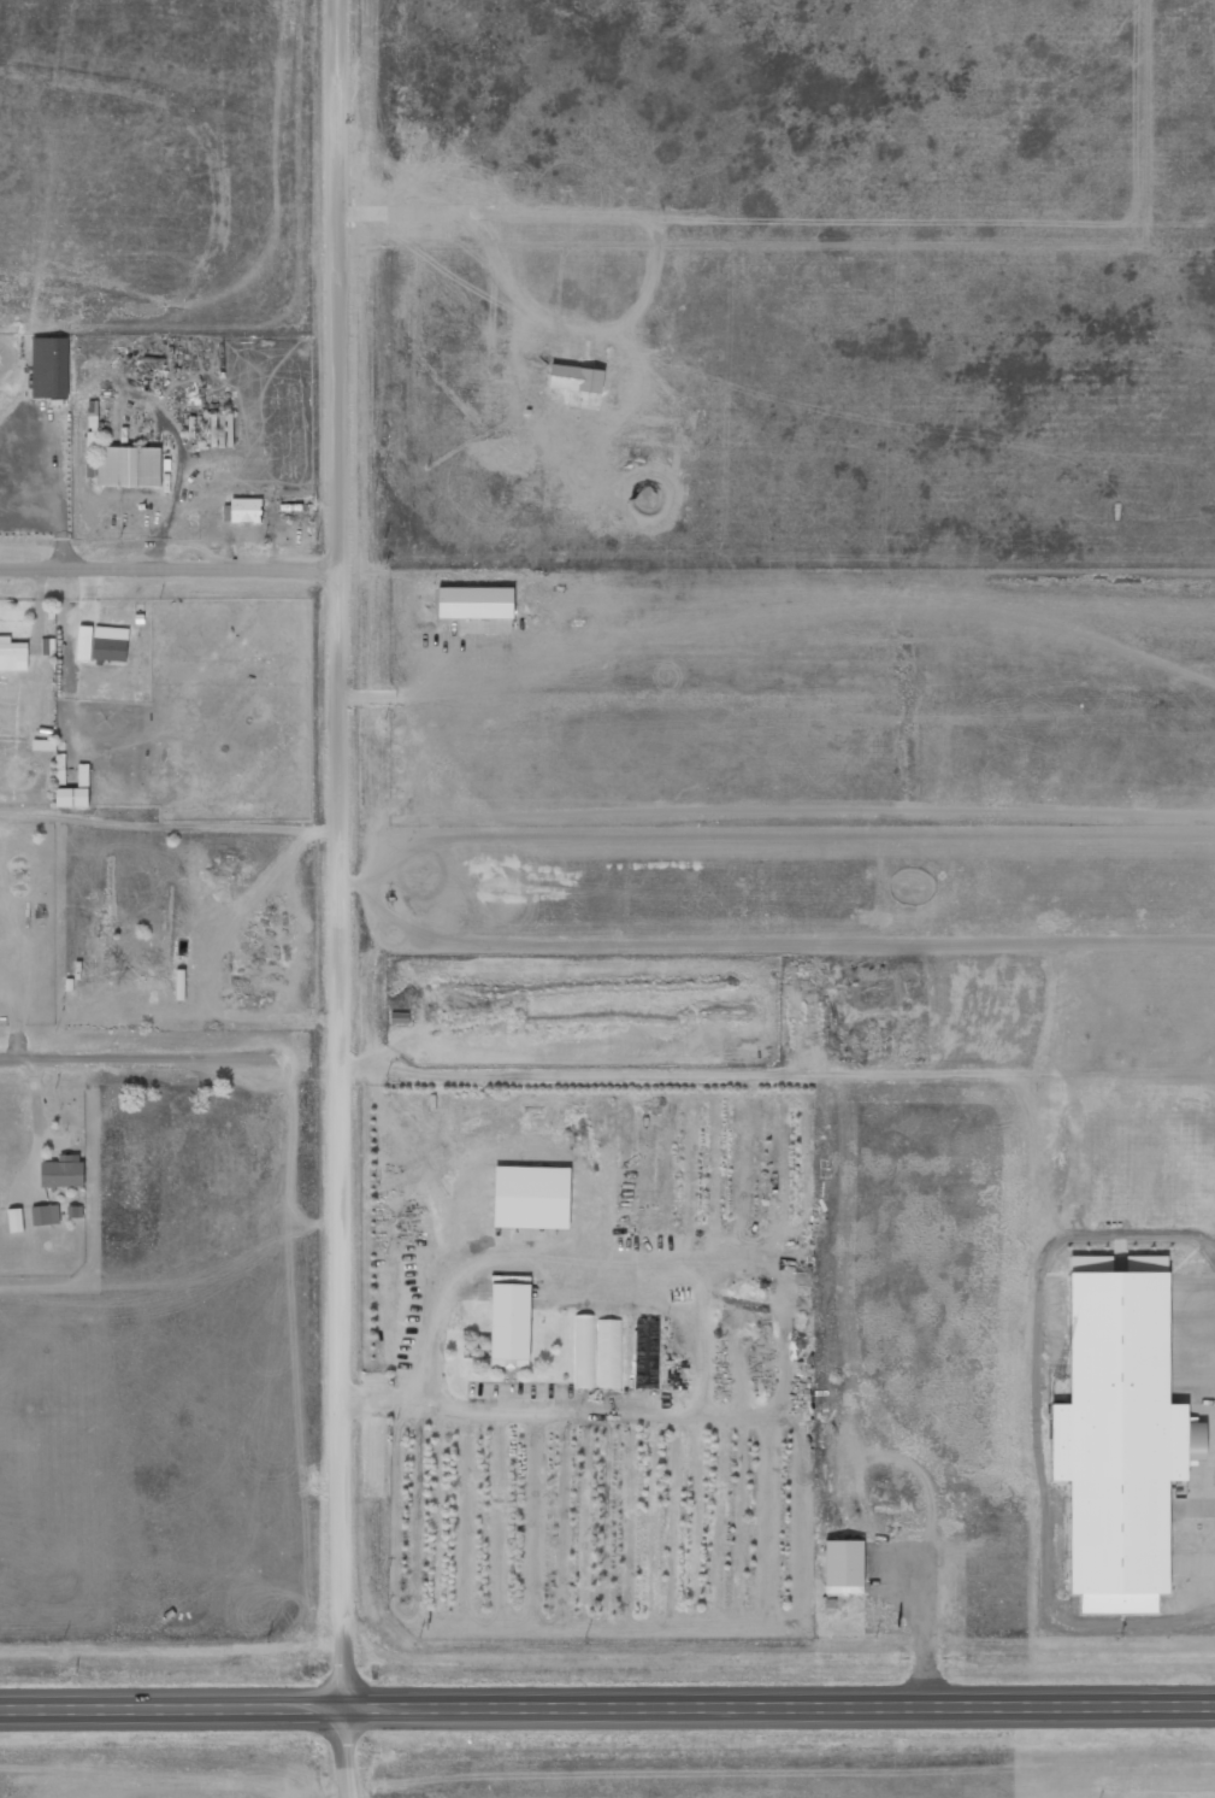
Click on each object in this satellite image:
building: (51, 369)
building: (222, 431)
building: (92, 440)
building: (129, 468)
building: (247, 511)
road: (171, 569)
building: (84, 648)
building: (110, 650)
building: (75, 793)
road: (338, 899)
road: (130, 1057)
building: (63, 1173)
building: (46, 1216)
building: (16, 1221)
road: (785, 1324)
building: (509, 1327)
building: (585, 1352)
building: (611, 1355)
building: (647, 1355)
building: (1121, 1444)
building: (844, 1567)
road: (607, 1710)

